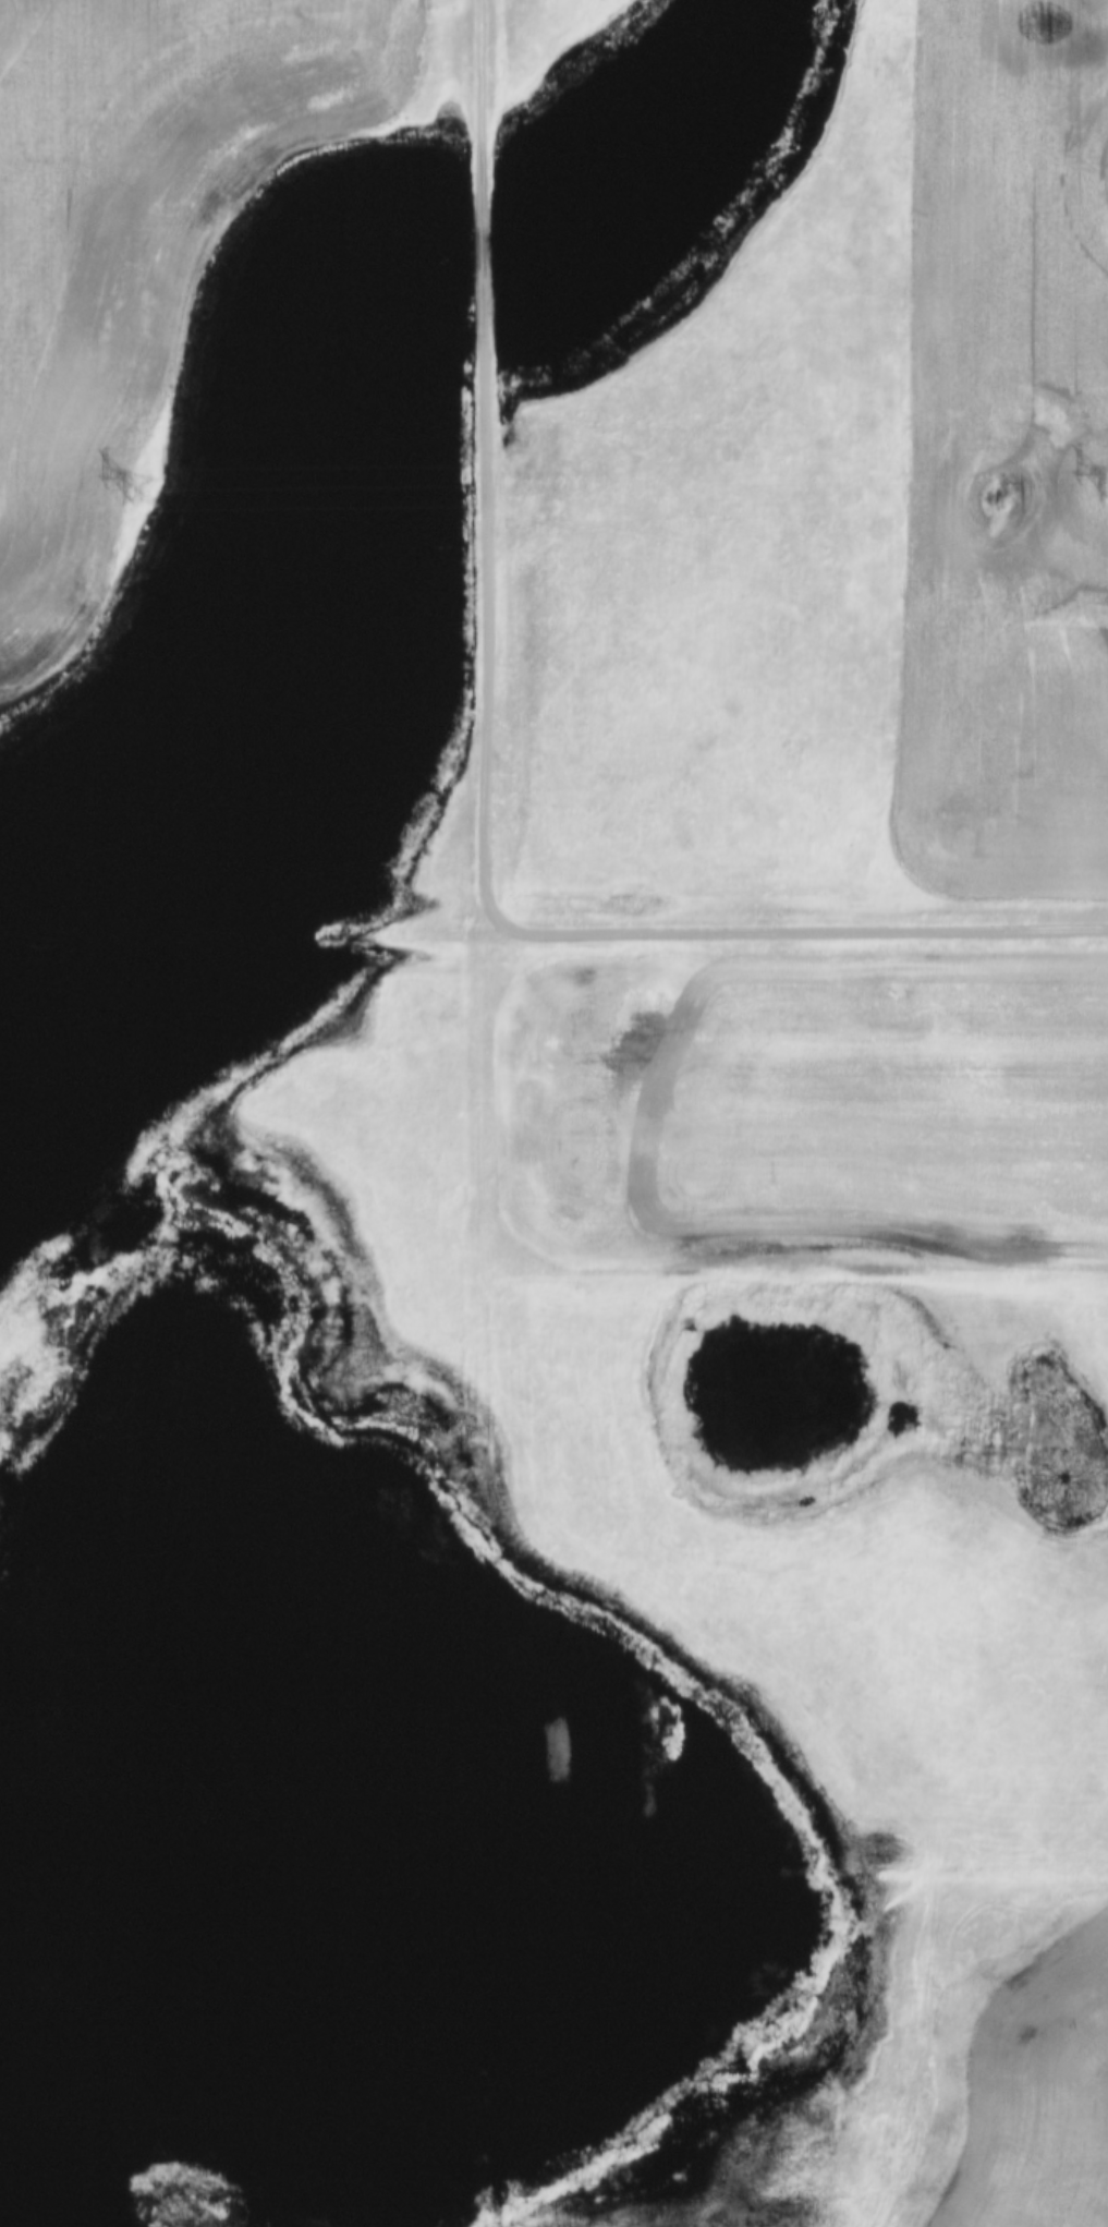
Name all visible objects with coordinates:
road: (483, 469)
power tower: (145, 487)
road: (796, 934)
road: (242, 939)

